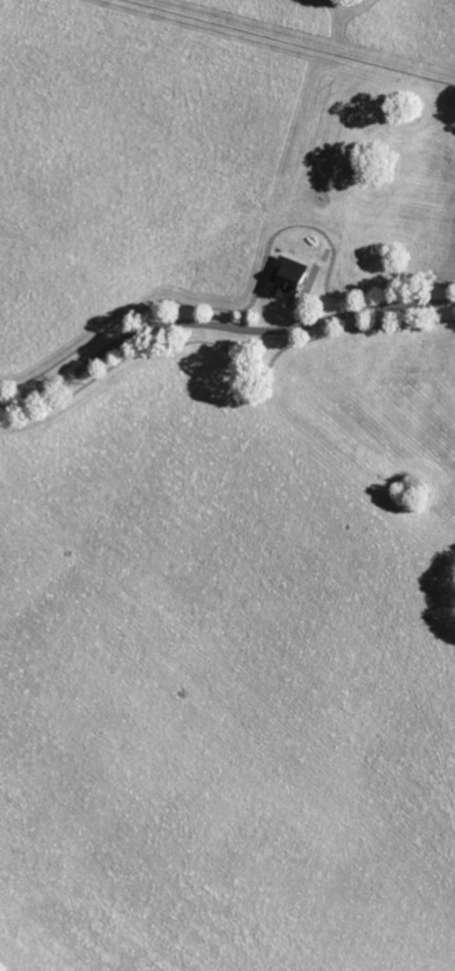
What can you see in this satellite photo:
building: (284, 276)
road: (216, 340)

